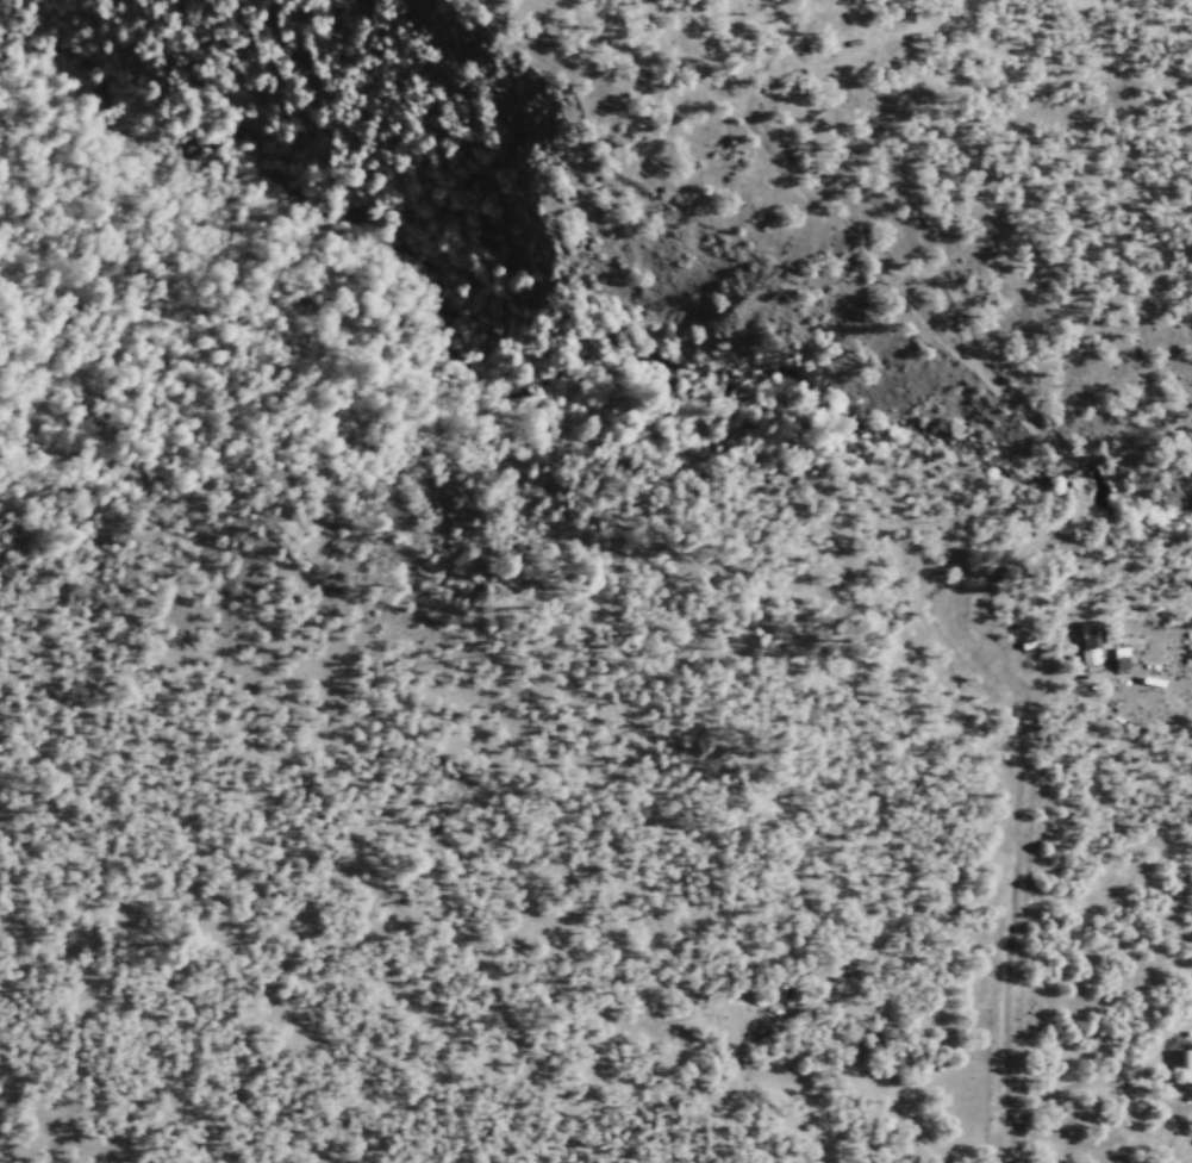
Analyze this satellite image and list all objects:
building: (1090, 642)
building: (1187, 1064)

